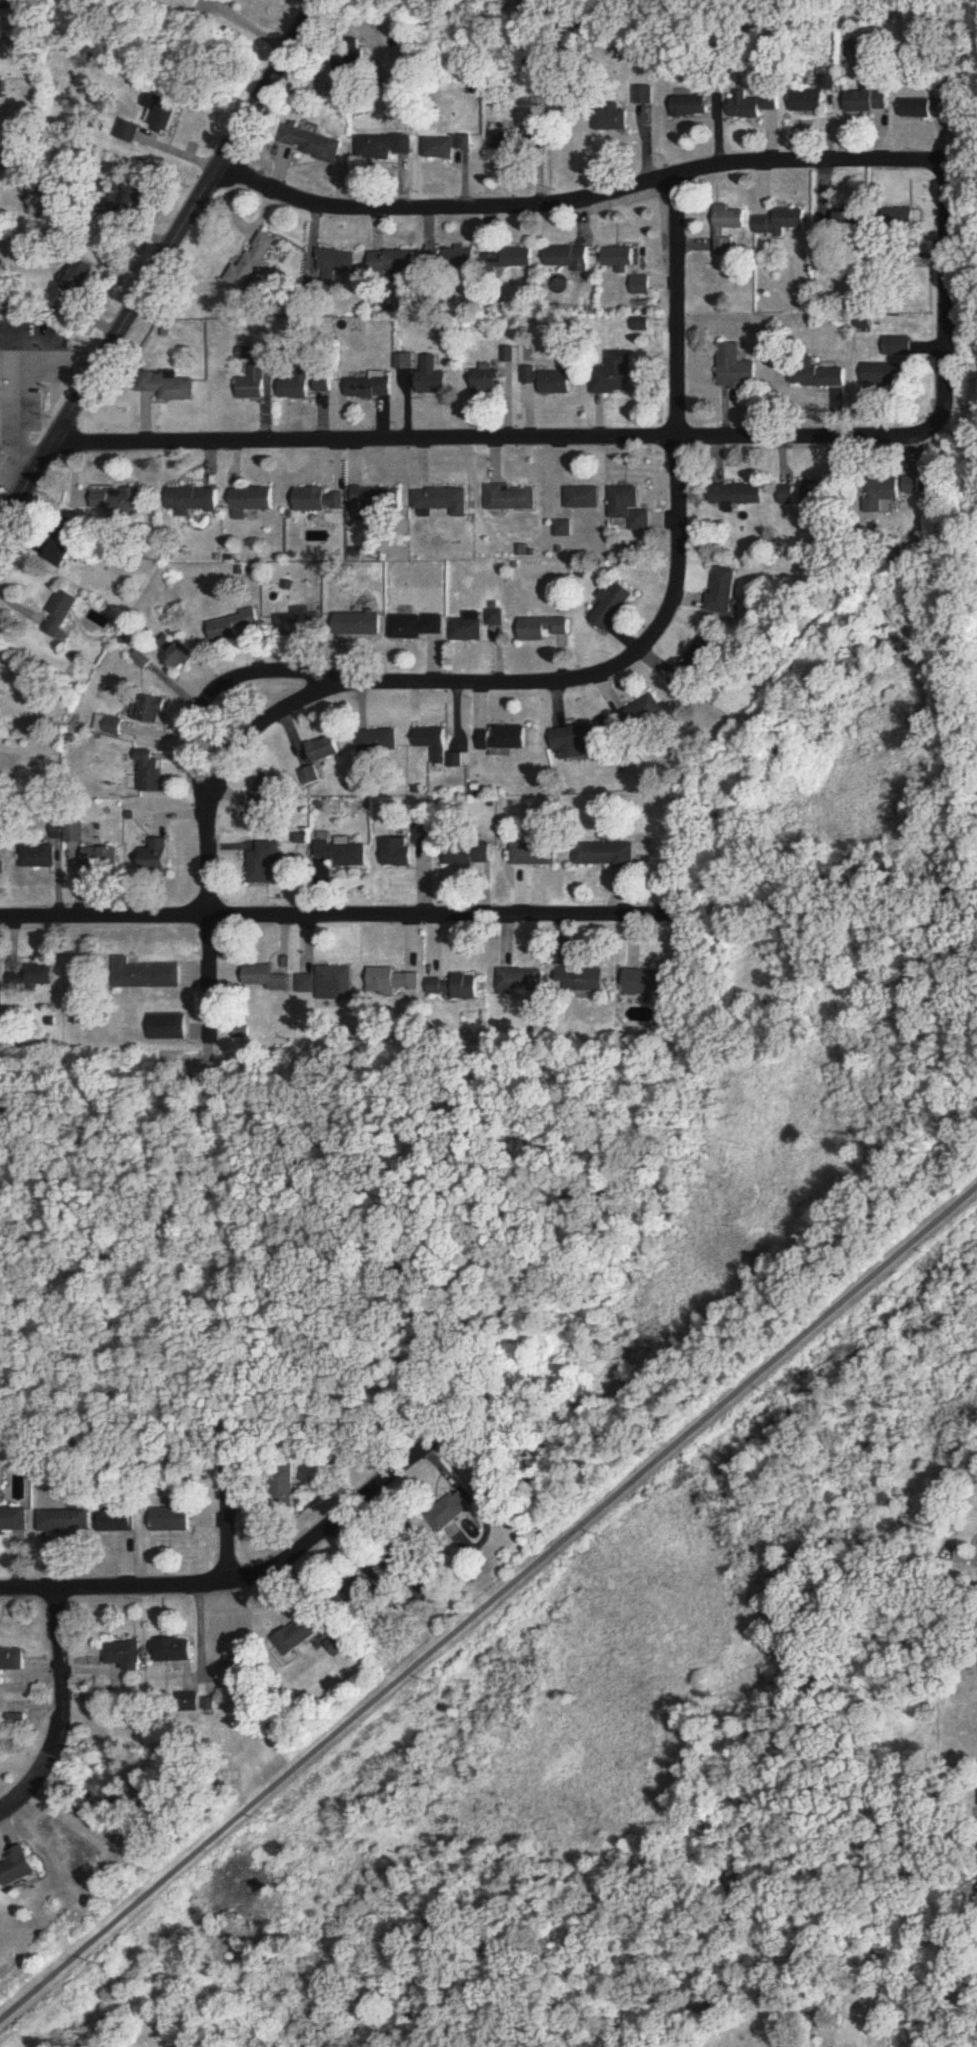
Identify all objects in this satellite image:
road: (319, 1)
building: (190, 3)
building: (6, 4)
road: (253, 26)
building: (352, 63)
building: (2, 90)
building: (646, 95)
building: (869, 101)
building: (810, 102)
building: (692, 105)
building: (756, 105)
building: (918, 108)
building: (162, 112)
building: (613, 116)
building: (128, 131)
building: (508, 144)
building: (315, 145)
building: (384, 146)
building: (441, 148)
building: (140, 195)
road: (575, 205)
building: (851, 219)
building: (782, 221)
building: (914, 221)
building: (728, 225)
building: (461, 257)
building: (568, 258)
building: (621, 258)
building: (511, 259)
building: (393, 262)
building: (335, 263)
building: (253, 264)
road: (162, 265)
building: (84, 275)
building: (641, 286)
road: (943, 293)
road: (52, 360)
building: (403, 362)
building: (738, 368)
building: (615, 375)
building: (887, 375)
building: (820, 377)
building: (431, 379)
building: (551, 381)
building: (486, 382)
building: (322, 384)
building: (252, 385)
building: (166, 386)
building: (294, 388)
building: (368, 389)
road: (4, 406)
road: (498, 442)
road: (21, 466)
building: (886, 490)
building: (807, 494)
building: (740, 495)
building: (584, 498)
building: (513, 499)
building: (117, 501)
building: (191, 501)
building: (317, 501)
building: (250, 502)
building: (441, 503)
building: (377, 505)
building: (631, 509)
building: (59, 554)
building: (723, 591)
building: (613, 607)
building: (61, 615)
building: (497, 618)
building: (296, 623)
building: (359, 623)
building: (417, 626)
building: (235, 627)
building: (468, 628)
building: (546, 629)
building: (184, 655)
building: (687, 676)
road: (227, 681)
road: (522, 686)
building: (155, 710)
building: (643, 713)
building: (111, 726)
building: (573, 738)
building: (505, 739)
building: (380, 741)
building: (435, 744)
building: (325, 750)
building: (152, 773)
building: (312, 777)
building: (266, 798)
building: (77, 833)
building: (425, 835)
building: (399, 853)
building: (536, 853)
building: (347, 854)
building: (471, 854)
building: (606, 855)
building: (40, 856)
building: (160, 857)
building: (104, 858)
building: (266, 863)
building: (3, 865)
road: (341, 919)
building: (148, 976)
building: (35, 978)
building: (269, 978)
building: (583, 980)
building: (393, 981)
building: (522, 982)
building: (330, 983)
building: (650, 983)
building: (458, 987)
building: (170, 1027)
building: (285, 1493)
building: (452, 1512)
road: (227, 1518)
building: (14, 1519)
building: (174, 1520)
building: (119, 1521)
building: (66, 1522)
building: (401, 1558)
road: (235, 1585)
building: (364, 1587)
road: (488, 1600)
building: (302, 1635)
building: (339, 1645)
building: (233, 1649)
building: (176, 1651)
building: (126, 1656)
building: (13, 1668)
road: (63, 1676)
road: (22, 1779)
building: (18, 1866)

